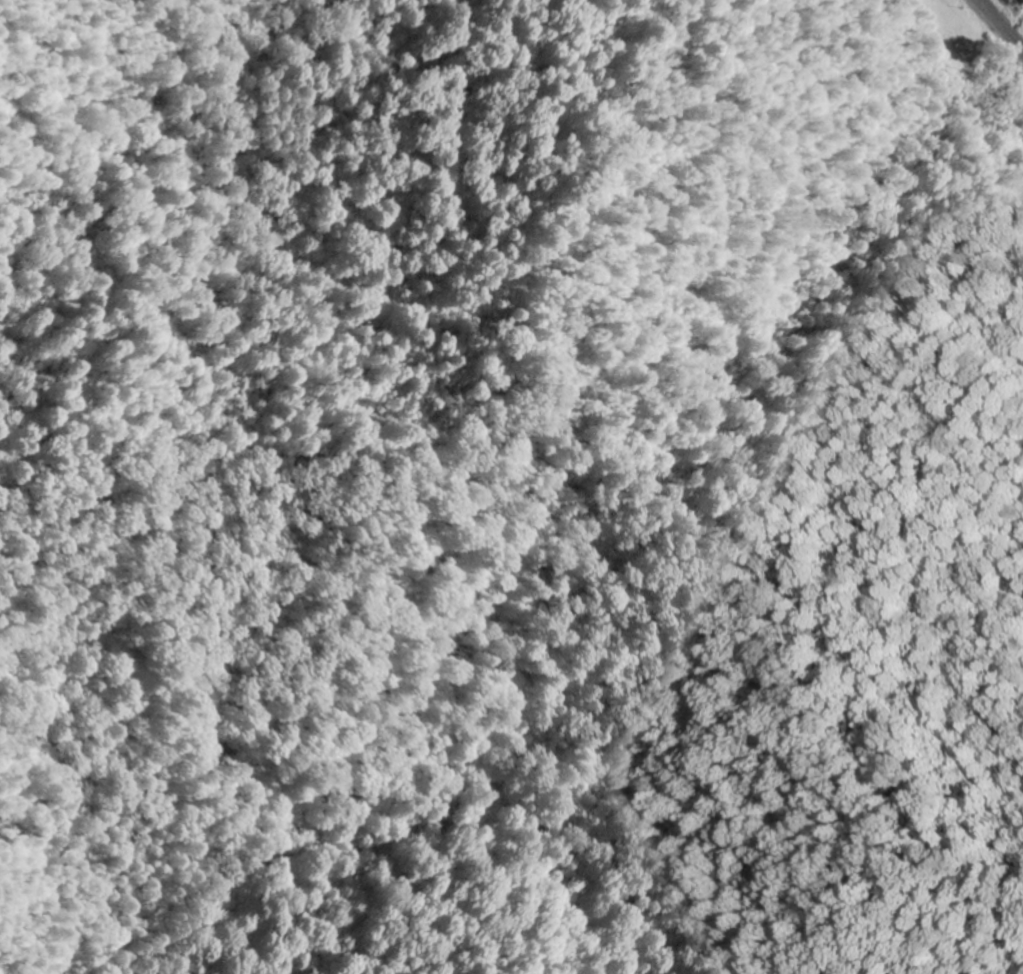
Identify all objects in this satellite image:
road: (1002, 23)

